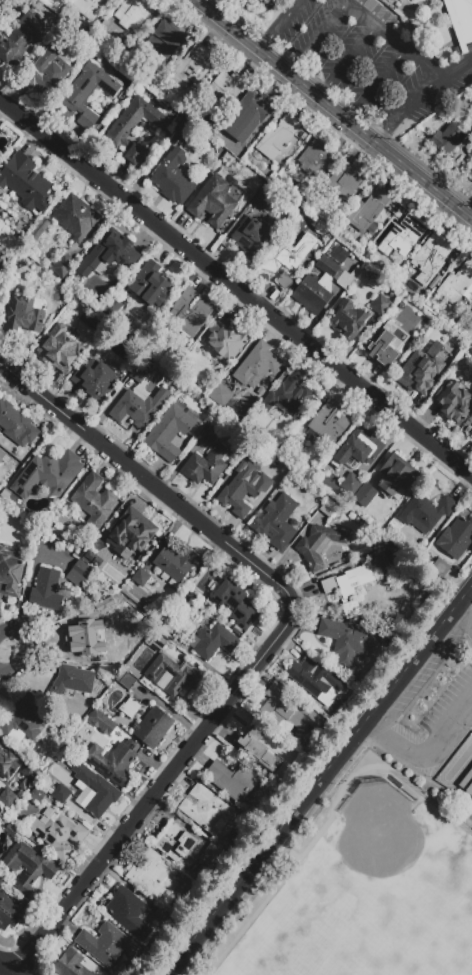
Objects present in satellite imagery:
building: (88, 7)
road: (289, 12)
building: (132, 13)
building: (460, 20)
road: (267, 35)
road: (394, 36)
road: (319, 37)
building: (166, 38)
building: (22, 40)
road: (346, 58)
parking lot: (370, 61)
building: (189, 67)
road: (453, 67)
building: (47, 68)
road: (377, 83)
building: (87, 92)
building: (221, 92)
road: (418, 96)
road: (338, 107)
building: (246, 116)
building: (179, 126)
building: (133, 128)
road: (388, 129)
building: (0, 132)
building: (448, 137)
building: (278, 138)
building: (470, 138)
building: (316, 157)
building: (470, 174)
building: (173, 179)
building: (346, 179)
building: (25, 182)
building: (300, 194)
building: (261, 200)
building: (212, 201)
building: (368, 212)
building: (76, 217)
building: (38, 229)
building: (403, 236)
building: (251, 237)
building: (107, 254)
building: (337, 254)
building: (286, 257)
building: (431, 257)
building: (3, 260)
building: (63, 266)
building: (438, 277)
building: (433, 284)
building: (458, 284)
building: (150, 285)
building: (322, 285)
road: (236, 290)
building: (379, 304)
building: (112, 309)
building: (189, 312)
building: (21, 317)
building: (346, 322)
building: (393, 335)
building: (226, 342)
building: (59, 349)
building: (470, 353)
building: (257, 365)
building: (421, 373)
building: (139, 375)
building: (95, 379)
building: (221, 395)
building: (289, 396)
road: (39, 398)
building: (453, 402)
building: (136, 407)
building: (329, 423)
building: (16, 425)
building: (173, 431)
building: (209, 434)
building: (470, 436)
building: (358, 448)
street lamp: (401, 449)
building: (2, 455)
building: (205, 466)
building: (48, 474)
building: (397, 476)
building: (351, 484)
building: (241, 489)
building: (364, 495)
building: (93, 501)
building: (328, 508)
building: (425, 513)
building: (277, 522)
building: (121, 538)
building: (456, 538)
building: (318, 546)
building: (175, 562)
building: (440, 567)
building: (10, 573)
building: (78, 574)
building: (141, 578)
building: (349, 586)
building: (46, 590)
road: (464, 597)
building: (236, 604)
road: (463, 617)
building: (96, 631)
building: (166, 632)
building: (349, 640)
building: (213, 641)
building: (160, 642)
building: (155, 648)
road: (26, 651)
street lamp: (7, 653)
road: (410, 665)
building: (173, 675)
building: (72, 681)
building: (128, 682)
road: (244, 682)
building: (317, 682)
parking lot: (433, 707)
building: (130, 708)
building: (298, 714)
street lamp: (471, 715)
building: (21, 720)
building: (152, 727)
building: (109, 728)
road: (381, 733)
road: (438, 738)
building: (258, 749)
building: (112, 762)
building: (7, 765)
street lamp: (431, 765)
building: (30, 772)
building: (59, 775)
park: (299, 779)
building: (232, 780)
street lamp: (303, 783)
building: (467, 783)
building: (24, 785)
road: (336, 787)
building: (96, 790)
building: (59, 793)
building: (37, 795)
building: (7, 798)
building: (206, 809)
road: (329, 821)
building: (10, 831)
building: (59, 834)
building: (175, 842)
park: (379, 842)
road: (265, 849)
building: (212, 855)
building: (29, 867)
street lamp: (234, 871)
building: (151, 875)
building: (9, 912)
building: (129, 913)
building: (162, 917)
building: (106, 944)
street lamp: (169, 954)
building: (71, 965)
road: (5, 970)

